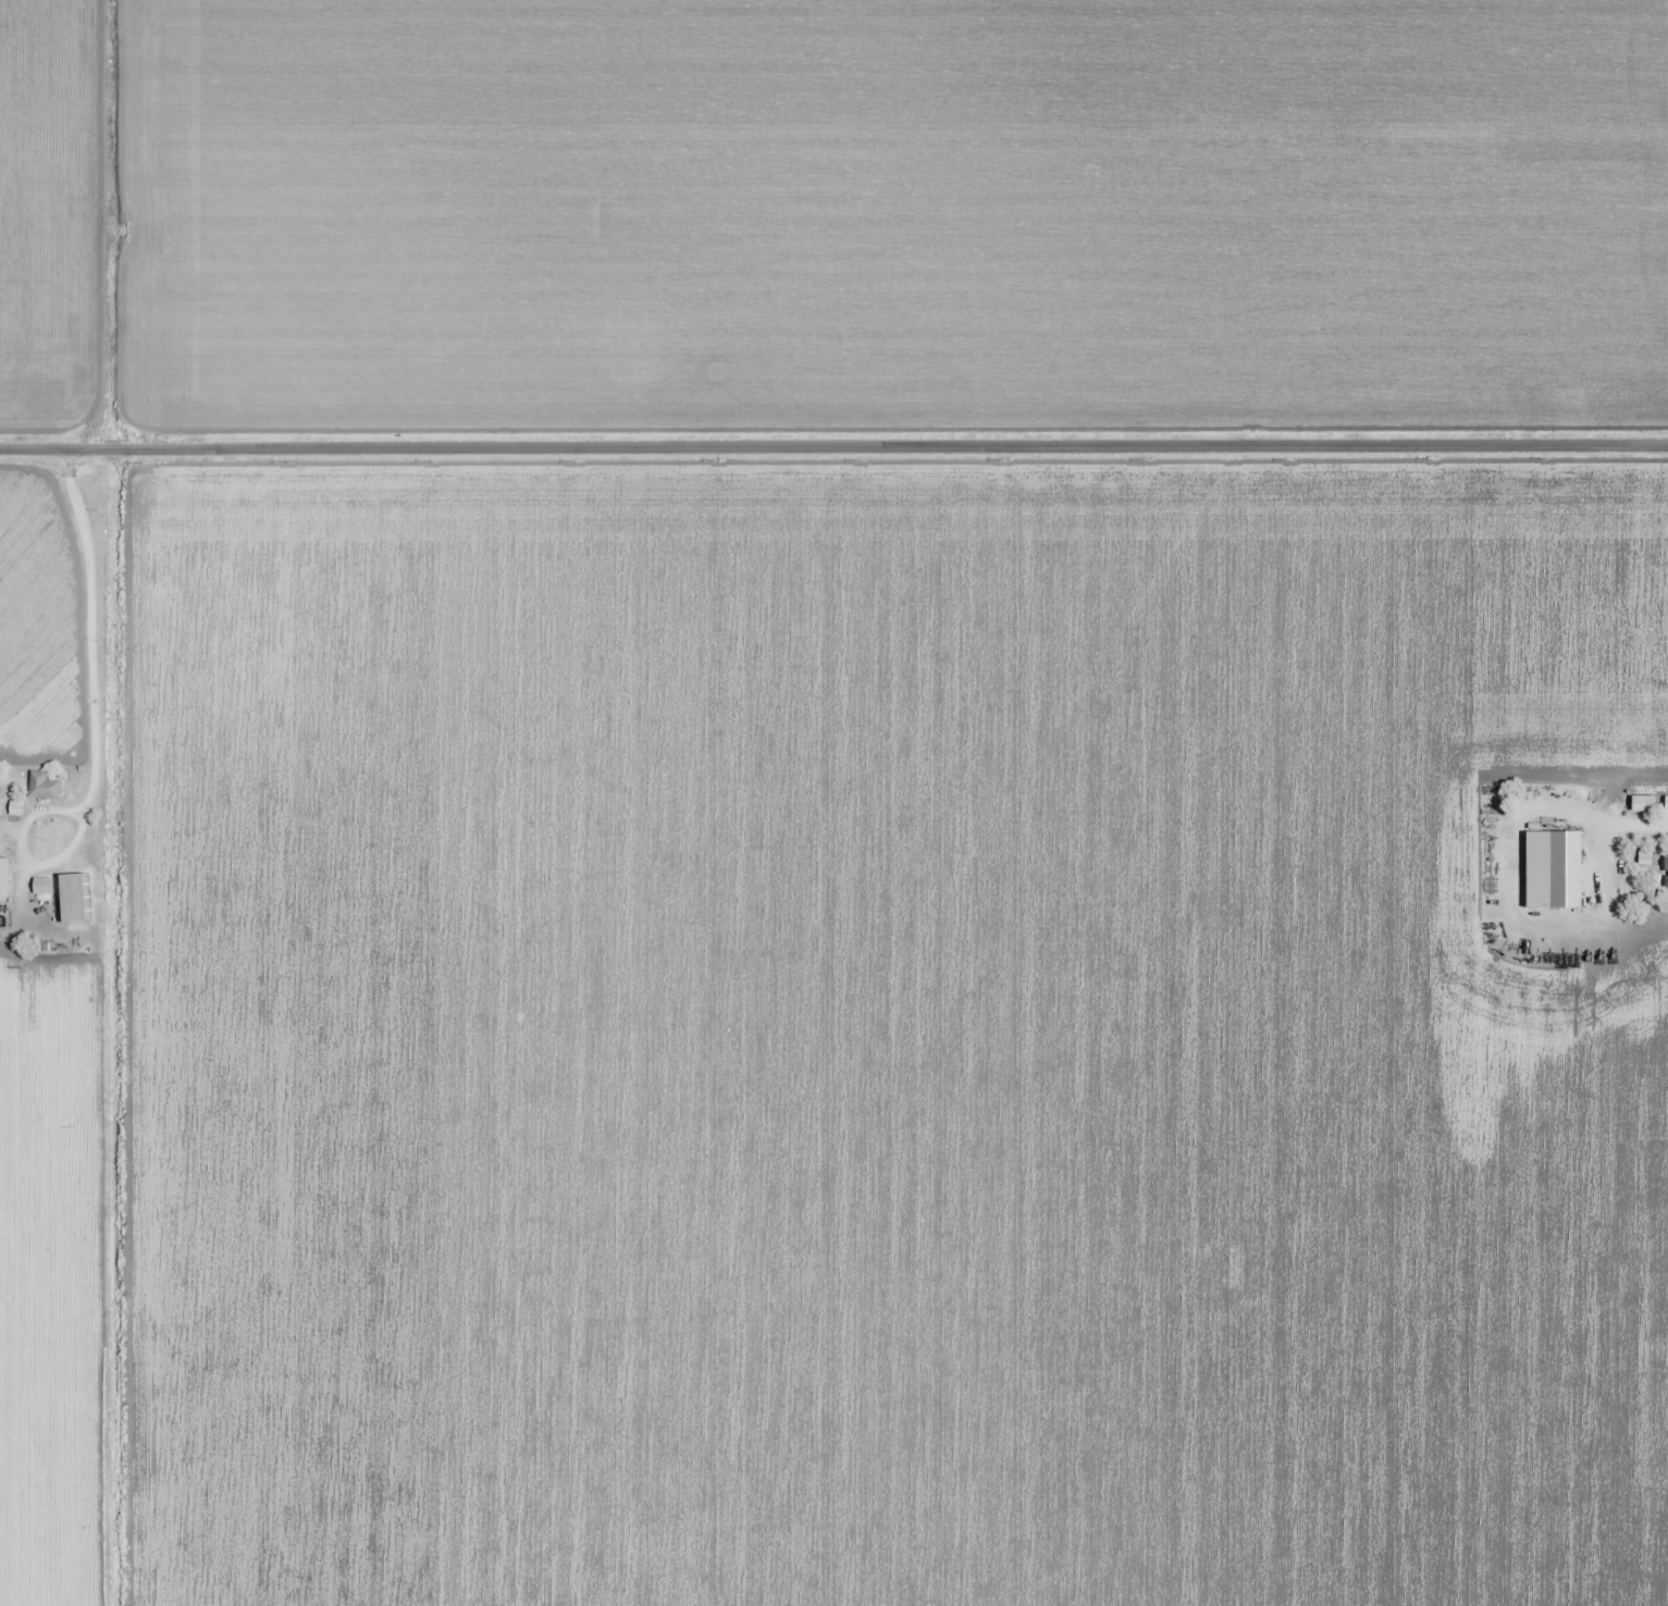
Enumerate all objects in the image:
road: (833, 450)
building: (45, 787)
building: (1644, 804)
building: (1667, 804)
building: (16, 810)
building: (1554, 870)
building: (1666, 872)
building: (4, 880)
building: (41, 887)
building: (74, 899)

